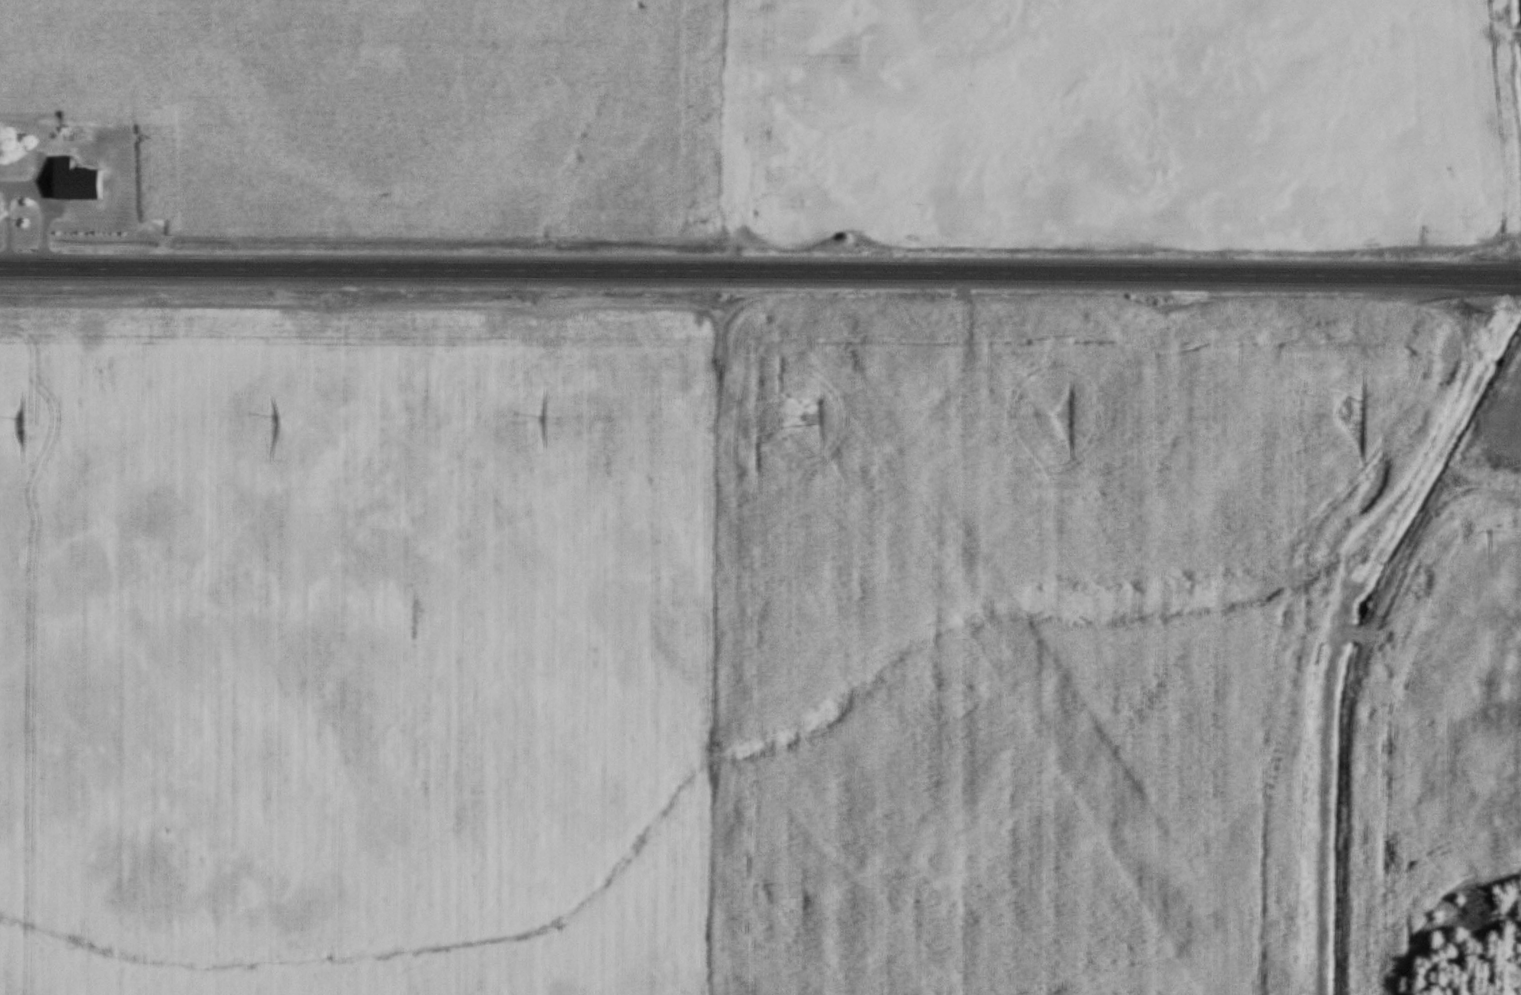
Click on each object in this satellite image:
building: (81, 178)
road: (760, 272)

